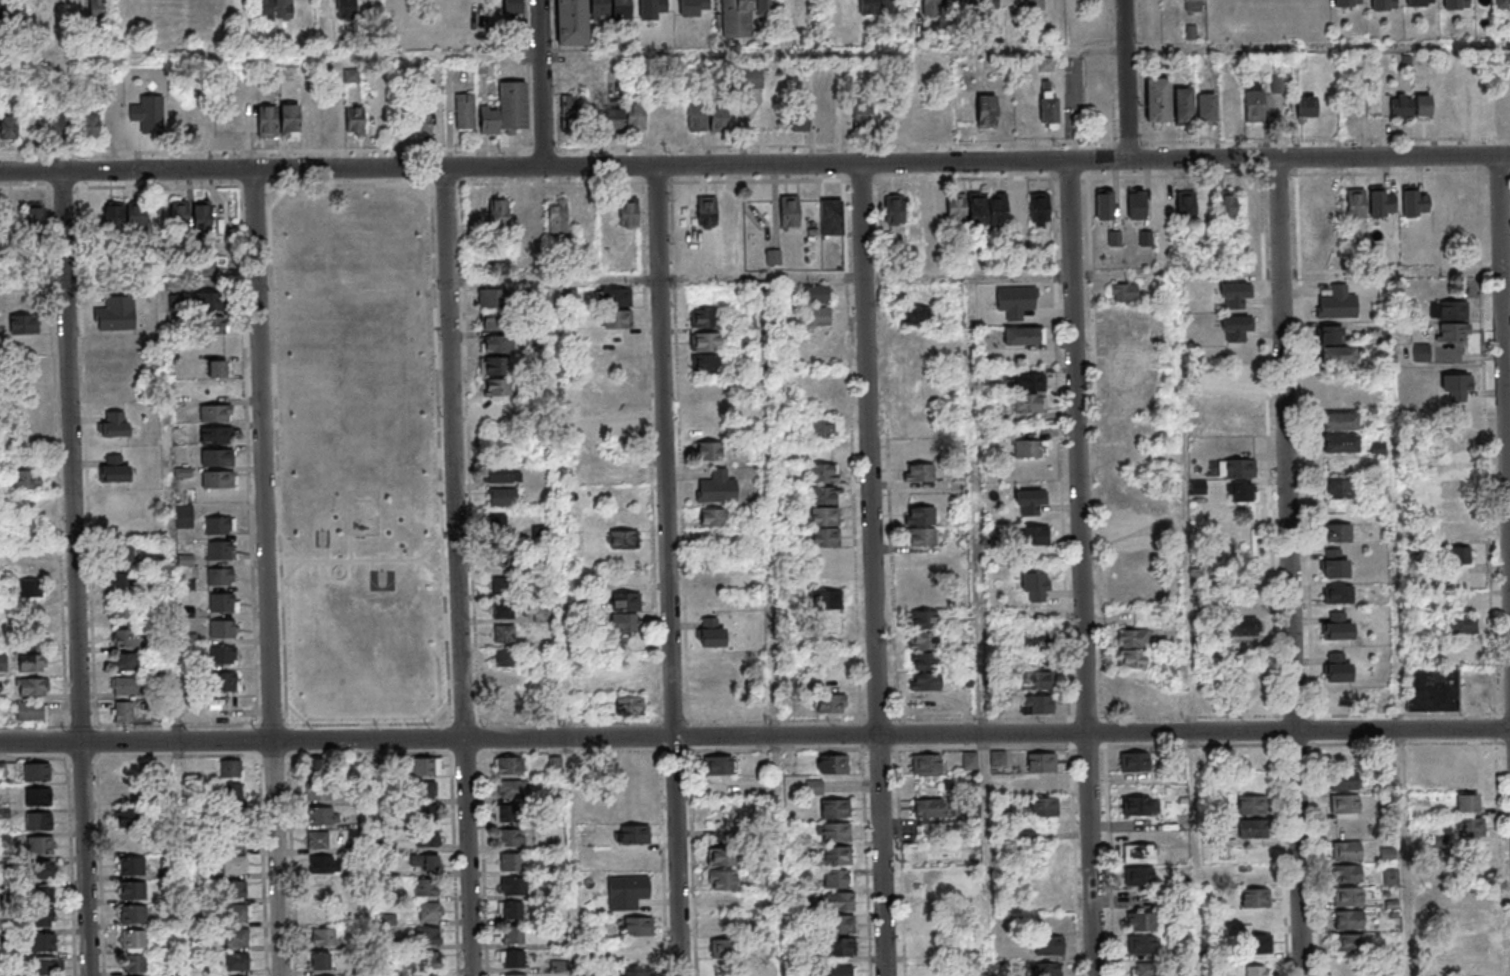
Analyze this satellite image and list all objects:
building: (1346, 3)
building: (1416, 3)
building: (984, 4)
building: (1033, 4)
building: (1455, 4)
building: (1502, 4)
building: (1193, 5)
building: (1383, 5)
building: (874, 6)
building: (939, 6)
building: (512, 7)
building: (692, 7)
building: (651, 8)
building: (764, 8)
building: (786, 8)
building: (96, 9)
building: (273, 9)
building: (346, 9)
building: (597, 9)
building: (2, 10)
building: (17, 10)
building: (619, 10)
building: (736, 18)
building: (571, 22)
road: (1319, 47)
road: (564, 55)
road: (1129, 80)
road: (545, 82)
building: (1279, 82)
building: (1471, 98)
building: (1157, 99)
building: (1447, 100)
building: (1183, 104)
building: (1230, 105)
building: (1254, 105)
building: (1422, 105)
building: (1206, 106)
building: (1305, 106)
building: (1400, 107)
building: (1048, 108)
building: (505, 110)
building: (464, 111)
building: (571, 111)
building: (986, 111)
building: (148, 114)
building: (635, 116)
building: (696, 116)
building: (863, 116)
building: (332, 118)
building: (821, 118)
building: (289, 119)
building: (614, 120)
building: (718, 120)
building: (800, 120)
building: (266, 121)
building: (355, 121)
building: (52, 122)
building: (421, 123)
building: (8, 126)
building: (89, 126)
road: (754, 147)
road: (59, 156)
road: (755, 164)
road: (267, 167)
road: (1404, 173)
road: (506, 182)
road: (252, 183)
road: (459, 183)
road: (279, 194)
road: (420, 194)
building: (1380, 202)
building: (1413, 202)
building: (1103, 203)
building: (1135, 203)
building: (1355, 203)
building: (1185, 205)
building: (1226, 205)
building: (1029, 207)
building: (957, 208)
building: (987, 208)
building: (935, 209)
building: (717, 210)
building: (792, 210)
building: (632, 212)
building: (179, 213)
building: (501, 213)
road: (1502, 213)
building: (34, 214)
building: (0, 215)
building: (114, 215)
building: (135, 215)
road: (1278, 216)
building: (202, 217)
building: (560, 218)
building: (832, 218)
road: (1069, 219)
building: (773, 257)
road: (1290, 274)
road: (758, 280)
road: (127, 283)
building: (1124, 291)
building: (814, 293)
building: (1233, 295)
building: (616, 296)
building: (491, 297)
building: (211, 301)
building: (1015, 301)
building: (1337, 302)
building: (1448, 310)
building: (115, 314)
building: (817, 315)
building: (909, 315)
building: (619, 319)
building: (708, 319)
building: (489, 321)
building: (1120, 321)
building: (23, 324)
building: (212, 324)
building: (1235, 327)
building: (1451, 331)
building: (1022, 335)
building: (496, 343)
building: (709, 343)
building: (1335, 346)
building: (1421, 352)
building: (1129, 358)
road: (1507, 363)
building: (708, 364)
building: (495, 365)
building: (218, 367)
building: (1126, 380)
building: (1236, 380)
building: (1027, 382)
building: (1457, 385)
building: (497, 387)
building: (1125, 403)
building: (1029, 404)
building: (498, 407)
building: (215, 412)
building: (1339, 421)
building: (114, 423)
building: (1239, 425)
building: (823, 429)
building: (618, 430)
building: (215, 434)
building: (1339, 443)
building: (708, 450)
building: (1032, 450)
park: (362, 455)
building: (217, 457)
building: (1236, 468)
building: (114, 469)
building: (825, 473)
building: (919, 473)
building: (501, 474)
building: (217, 479)
building: (27, 480)
building: (1197, 486)
building: (1454, 486)
building: (716, 487)
building: (1338, 488)
building: (1239, 492)
building: (826, 496)
building: (503, 497)
building: (1028, 502)
road: (1289, 502)
road: (1490, 507)
building: (1456, 509)
building: (183, 515)
building: (711, 517)
building: (828, 517)
building: (922, 517)
building: (500, 522)
building: (219, 525)
building: (119, 528)
building: (1456, 531)
building: (29, 532)
building: (1337, 532)
road: (857, 535)
building: (1033, 535)
building: (1130, 535)
park: (321, 537)
building: (623, 538)
building: (828, 538)
building: (923, 538)
road: (350, 540)
building: (221, 550)
road: (399, 550)
building: (122, 552)
road: (326, 552)
building: (1239, 553)
building: (502, 554)
building: (1459, 554)
road: (362, 559)
building: (1334, 563)
road: (371, 564)
road: (432, 568)
road: (291, 569)
road: (876, 569)
road: (670, 570)
road: (459, 571)
road: (265, 572)
road: (76, 573)
building: (220, 575)
road: (1310, 575)
building: (122, 579)
road: (338, 579)
park: (381, 579)
building: (712, 579)
building: (502, 584)
building: (1033, 585)
building: (31, 588)
building: (1337, 593)
building: (1130, 596)
building: (828, 600)
building: (626, 601)
building: (223, 602)
building: (122, 609)
building: (503, 609)
building: (920, 620)
building: (624, 622)
building: (1242, 622)
road: (1399, 624)
building: (1460, 624)
road: (983, 626)
road: (1084, 626)
road: (1190, 626)
building: (1336, 626)
building: (222, 628)
road: (772, 628)
road: (177, 629)
road: (567, 629)
building: (711, 632)
building: (503, 633)
building: (125, 637)
building: (33, 638)
building: (923, 640)
building: (1036, 640)
building: (1132, 647)
building: (224, 654)
building: (505, 657)
building: (126, 661)
building: (924, 661)
building: (3, 662)
building: (32, 662)
building: (1337, 667)
building: (1035, 679)
building: (924, 680)
building: (224, 681)
building: (32, 686)
building: (127, 686)
building: (1, 688)
building: (1432, 689)
building: (1337, 698)
building: (830, 702)
building: (1035, 704)
building: (723, 705)
building: (629, 706)
road: (898, 706)
building: (31, 710)
building: (123, 712)
road: (438, 712)
road: (296, 713)
road: (447, 723)
road: (656, 723)
road: (143, 727)
road: (1404, 729)
road: (649, 737)
building: (968, 759)
building: (1134, 761)
building: (833, 763)
building: (926, 763)
building: (555, 764)
building: (717, 765)
building: (316, 766)
building: (425, 766)
building: (512, 767)
building: (128, 769)
building: (232, 769)
building: (1041, 772)
building: (39, 773)
building: (1344, 780)
building: (423, 790)
building: (515, 790)
building: (317, 791)
building: (234, 793)
building: (131, 794)
building: (41, 799)
building: (1467, 802)
building: (1344, 803)
building: (1252, 804)
building: (1140, 805)
building: (1040, 806)
building: (927, 807)
building: (837, 809)
building: (505, 813)
building: (428, 814)
building: (322, 815)
building: (132, 818)
building: (233, 818)
building: (42, 823)
building: (1470, 826)
building: (1252, 829)
building: (635, 834)
building: (838, 834)
building: (427, 837)
building: (511, 837)
building: (317, 839)
building: (133, 842)
building: (237, 842)
building: (42, 847)
building: (1348, 852)
building: (1139, 853)
road: (1301, 853)
road: (1502, 853)
building: (839, 856)
road: (378, 858)
building: (725, 858)
building: (511, 861)
building: (424, 862)
building: (324, 863)
road: (867, 863)
building: (237, 866)
building: (133, 867)
building: (43, 871)
building: (1138, 875)
building: (1349, 875)
building: (930, 878)
building: (840, 880)
building: (724, 881)
building: (426, 888)
building: (517, 888)
building: (134, 891)
building: (238, 891)
building: (627, 892)
building: (43, 896)
building: (1255, 897)
building: (1350, 898)
building: (841, 903)
building: (514, 911)
building: (429, 912)
building: (239, 914)
building: (135, 916)
building: (41, 919)
building: (1351, 921)
building: (1143, 923)
building: (637, 926)
building: (842, 926)
building: (429, 936)
building: (515, 936)
building: (240, 938)
building: (326, 938)
building: (136, 940)
building: (1476, 941)
building: (1258, 943)
building: (45, 944)
building: (1352, 944)
building: (1048, 945)
building: (1145, 946)
building: (843, 948)
building: (729, 950)
building: (320, 960)
building: (431, 960)
building: (516, 960)
building: (240, 963)
building: (138, 964)
building: (1474, 965)
building: (46, 967)
building: (1046, 968)
building: (1143, 969)
building: (1257, 970)
building: (840, 971)
building: (635, 972)
building: (514, 974)
building: (323, 975)
building: (432, 975)

